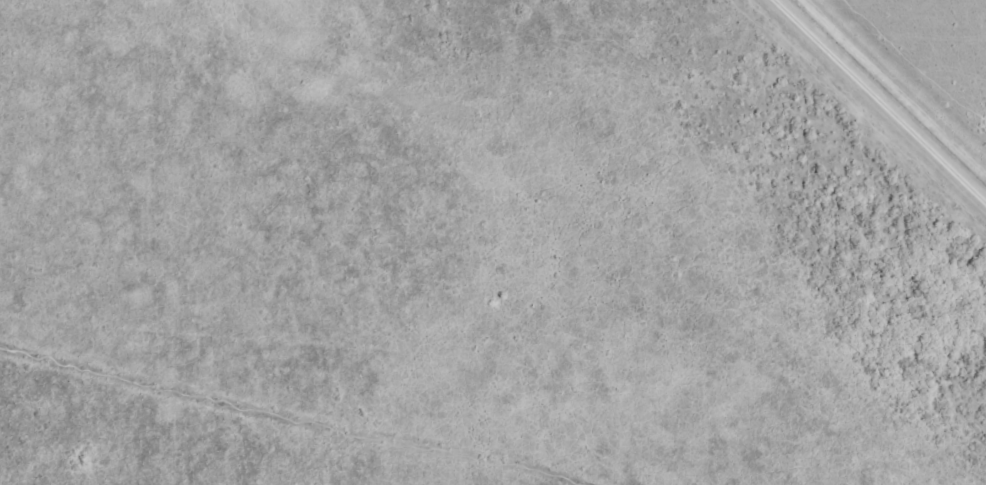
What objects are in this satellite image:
road: (880, 101)

